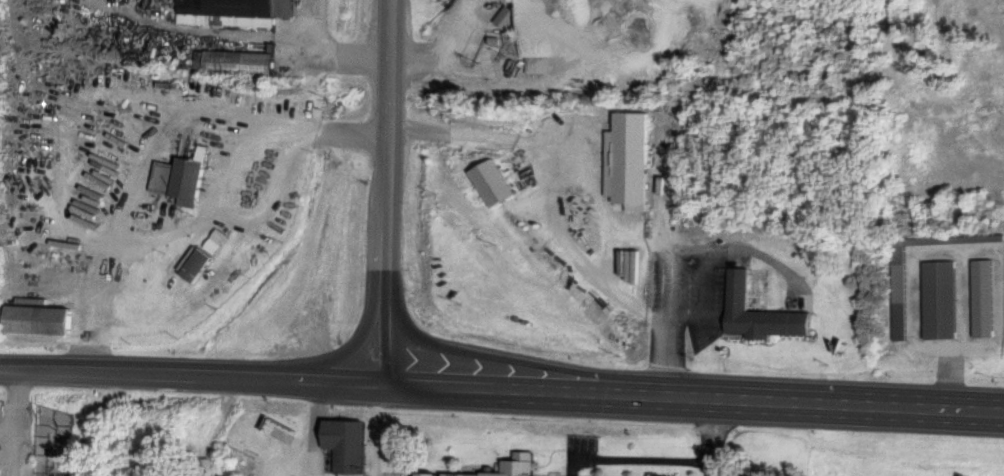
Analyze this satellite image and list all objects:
building: (241, 12)
building: (509, 17)
building: (241, 62)
road: (387, 99)
building: (618, 153)
building: (188, 178)
building: (499, 183)
building: (202, 263)
road: (387, 290)
building: (991, 298)
building: (947, 299)
building: (746, 310)
building: (47, 320)
road: (194, 376)
road: (696, 397)
building: (356, 446)
building: (520, 466)
building: (439, 474)

